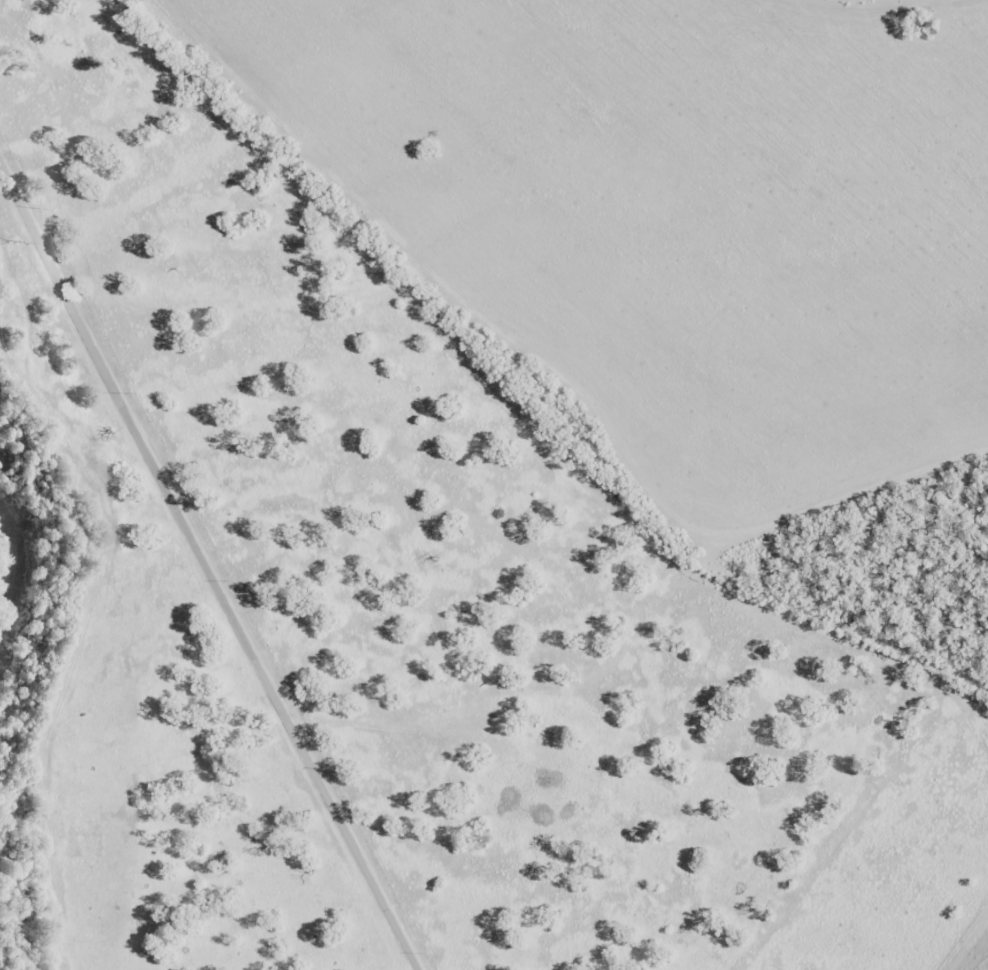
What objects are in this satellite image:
road: (205, 547)
river: (18, 564)
road: (963, 938)

